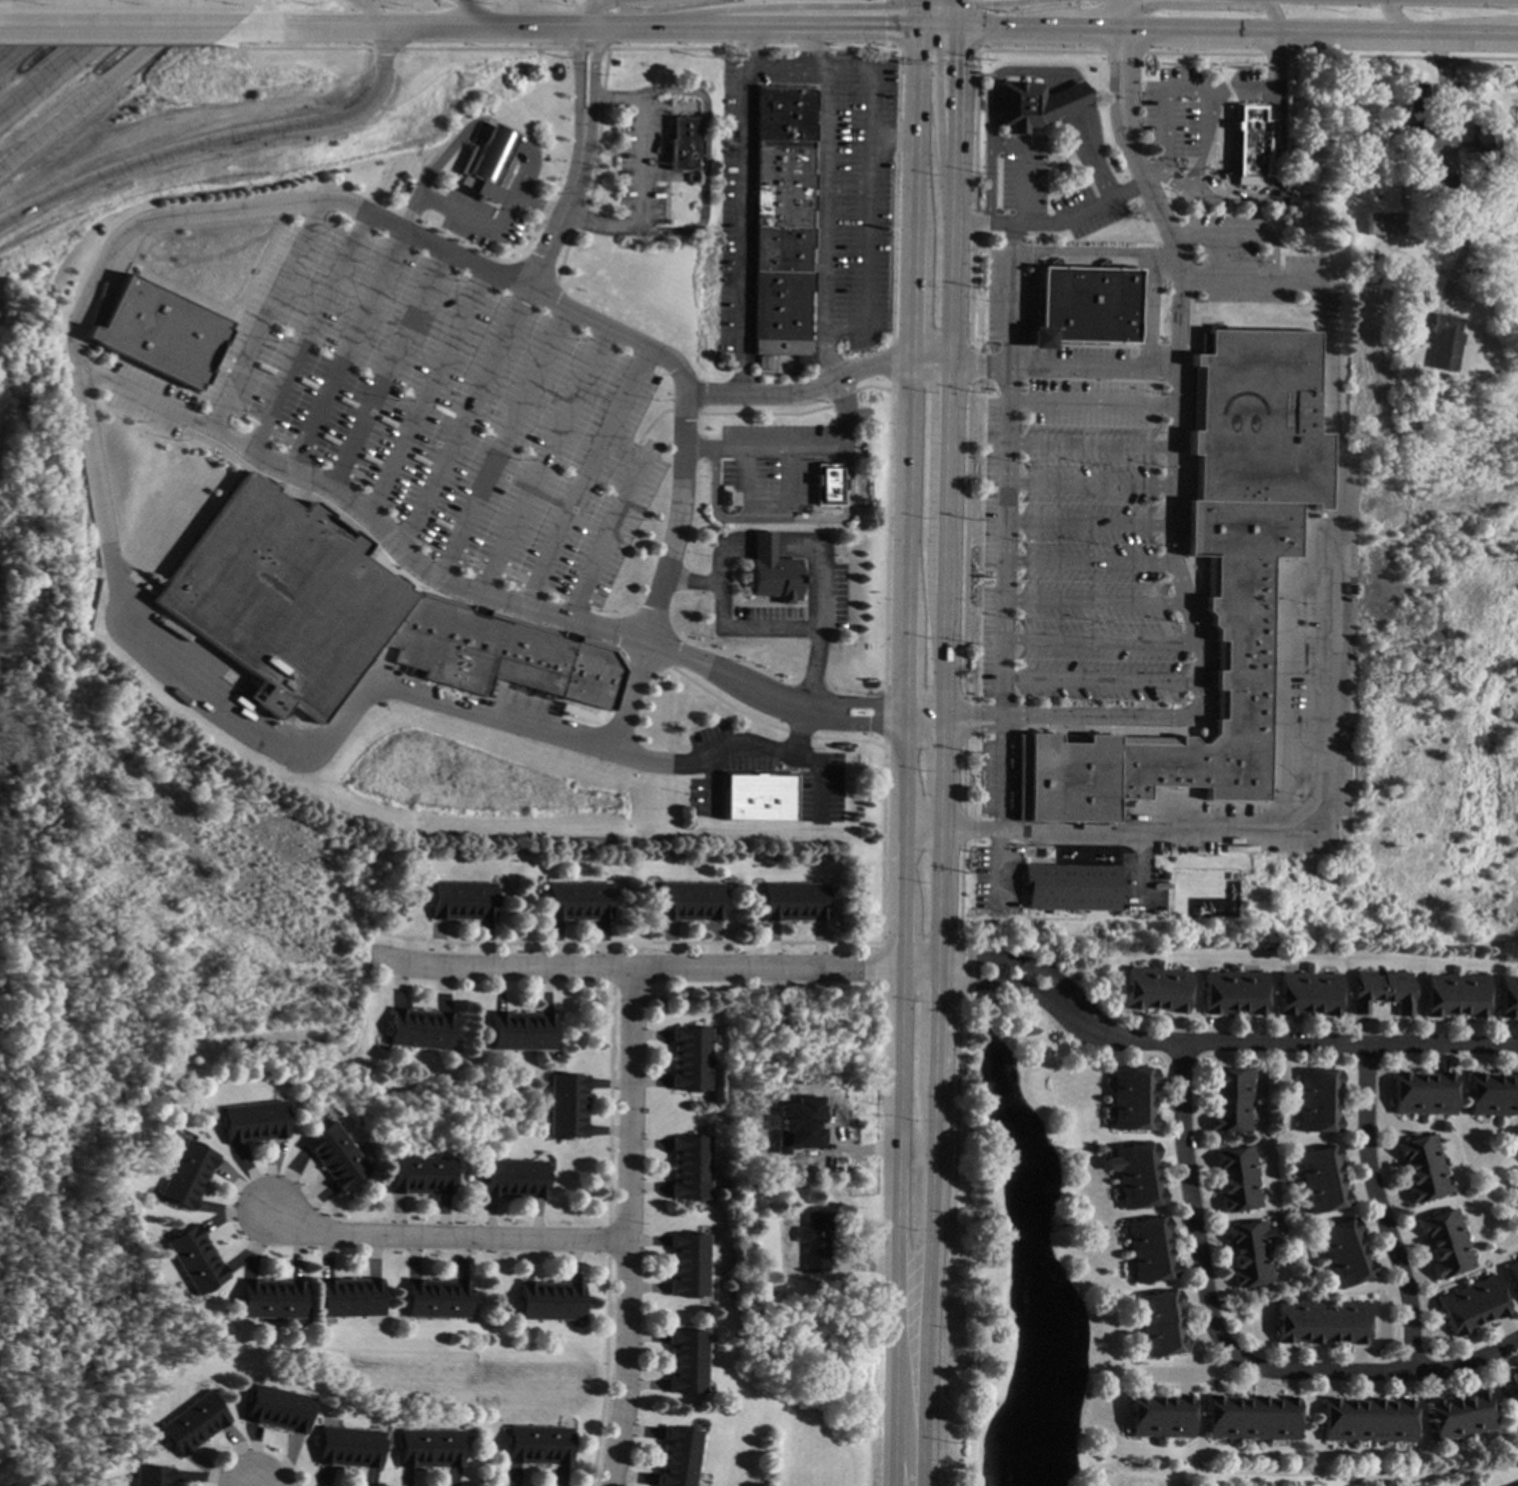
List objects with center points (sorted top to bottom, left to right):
road: (7, 6)
road: (464, 16)
road: (916, 17)
road: (1268, 18)
road: (1400, 20)
road: (890, 25)
road: (983, 26)
road: (111, 30)
road: (40, 32)
road: (870, 34)
traffic signals: (883, 35)
road: (104, 43)
road: (381, 49)
road: (288, 50)
road: (647, 50)
road: (978, 53)
road: (936, 56)
road: (73, 60)
road: (780, 63)
traffic signals: (958, 64)
road: (1269, 66)
road: (1019, 71)
road: (1127, 72)
building: (1453, 73)
road: (1107, 74)
road: (576, 81)
road: (107, 86)
road: (1177, 91)
building: (1411, 99)
road: (589, 100)
building: (1033, 104)
parking lot: (1191, 120)
building: (1404, 131)
building: (1380, 134)
road: (891, 135)
road: (230, 136)
road: (1206, 136)
road: (493, 137)
building: (1248, 143)
building: (683, 144)
building: (1481, 148)
building: (1408, 157)
building: (1456, 157)
building: (484, 163)
road: (524, 163)
road: (703, 167)
road: (644, 168)
road: (429, 170)
road: (1152, 175)
building: (1469, 177)
building: (1433, 182)
road: (867, 186)
building: (1279, 194)
building: (1423, 196)
road: (1259, 197)
parking lot: (814, 201)
road: (822, 206)
road: (535, 207)
road: (745, 212)
building: (782, 213)
road: (1052, 220)
road: (472, 223)
building: (1383, 223)
building: (1443, 226)
road: (1237, 237)
building: (1375, 279)
road: (1011, 292)
building: (1083, 306)
road: (263, 317)
road: (307, 330)
building: (157, 331)
building: (1444, 342)
road: (346, 348)
building: (779, 353)
road: (953, 358)
road: (980, 363)
road: (1091, 366)
road: (387, 369)
road: (909, 374)
road: (821, 386)
road: (426, 391)
road: (1091, 402)
parking lot: (438, 413)
road: (463, 417)
road: (501, 442)
road: (1090, 444)
road: (796, 451)
road: (545, 459)
road: (587, 476)
building: (828, 484)
road: (1089, 484)
road: (763, 509)
road: (618, 520)
road: (1002, 520)
road: (1088, 522)
parking lot: (1079, 533)
road: (1086, 562)
building: (772, 570)
building: (1210, 583)
road: (819, 588)
road: (468, 589)
road: (1281, 590)
road: (1183, 593)
road: (1094, 601)
building: (349, 614)
road: (761, 627)
road: (1100, 640)
road: (1100, 679)
road: (189, 684)
road: (998, 698)
road: (1328, 700)
road: (926, 716)
road: (973, 717)
road: (725, 748)
road: (819, 780)
building: (758, 797)
building: (1070, 887)
building: (462, 900)
building: (577, 901)
building: (689, 902)
building: (794, 902)
road: (637, 973)
traffic signals: (900, 976)
traffic signals: (943, 976)
building: (1154, 989)
building: (1381, 990)
building: (1231, 991)
building: (1306, 993)
building: (1508, 995)
building: (1455, 996)
building: (419, 1029)
building: (523, 1031)
road: (1198, 1046)
building: (690, 1058)
building: (1423, 1093)
building: (1493, 1094)
building: (1130, 1099)
building: (809, 1100)
road: (897, 1100)
building: (1229, 1100)
road: (937, 1101)
building: (1315, 1101)
building: (568, 1105)
building: (750, 1111)
building: (254, 1122)
building: (840, 1133)
building: (335, 1155)
building: (690, 1167)
building: (1422, 1168)
building: (187, 1174)
building: (422, 1174)
building: (1137, 1176)
building: (1235, 1178)
building: (515, 1179)
building: (1319, 1180)
building: (1513, 1184)
road: (1190, 1207)
road: (1379, 1209)
road: (632, 1230)
building: (814, 1239)
road: (445, 1240)
building: (1445, 1241)
building: (1148, 1251)
building: (1248, 1253)
building: (1343, 1253)
building: (195, 1259)
building: (688, 1264)
building: (1513, 1271)
building: (351, 1297)
building: (437, 1298)
building: (272, 1299)
building: (550, 1301)
building: (1472, 1305)
building: (1320, 1322)
building: (1160, 1324)
building: (686, 1361)
road: (1327, 1371)
building: (1510, 1388)
building: (277, 1408)
building: (1159, 1416)
building: (1460, 1416)
building: (1250, 1417)
building: (1368, 1419)
building: (192, 1423)
building: (537, 1445)
building: (348, 1447)
building: (429, 1448)
building: (677, 1457)
building: (152, 1476)
building: (1515, 1484)

